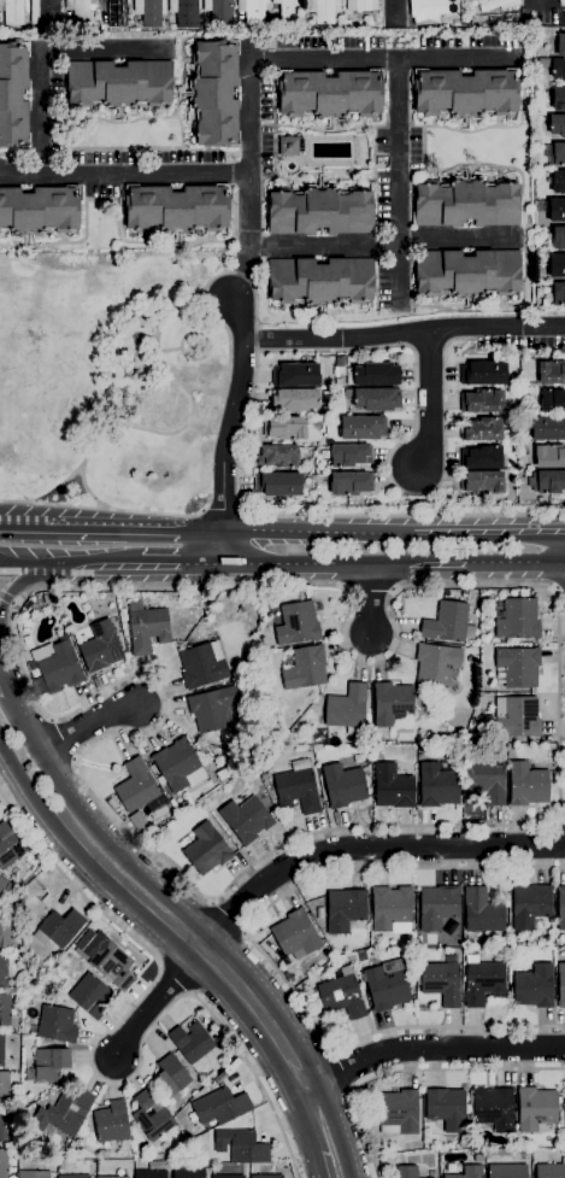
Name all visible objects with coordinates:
building: (561, 2)
building: (494, 4)
building: (361, 5)
building: (288, 8)
building: (80, 10)
building: (253, 10)
building: (323, 10)
building: (14, 11)
building: (116, 11)
building: (219, 11)
building: (430, 11)
building: (151, 12)
building: (184, 12)
road: (395, 12)
building: (46, 13)
building: (0, 16)
building: (564, 30)
building: (561, 45)
road: (43, 49)
road: (383, 60)
building: (558, 69)
building: (118, 84)
building: (329, 93)
building: (465, 93)
building: (214, 94)
building: (13, 95)
building: (558, 99)
building: (557, 125)
building: (288, 147)
building: (555, 154)
road: (124, 175)
road: (249, 182)
building: (558, 182)
road: (399, 183)
building: (467, 203)
building: (176, 209)
building: (39, 210)
building: (555, 210)
building: (320, 211)
building: (559, 238)
road: (382, 244)
building: (557, 266)
building: (466, 274)
building: (320, 281)
building: (557, 293)
road: (404, 333)
road: (155, 354)
building: (552, 373)
building: (483, 374)
building: (295, 375)
building: (373, 375)
park: (108, 380)
building: (337, 383)
road: (224, 394)
road: (233, 397)
road: (200, 399)
building: (373, 399)
road: (430, 399)
building: (294, 400)
building: (552, 400)
building: (481, 402)
building: (326, 411)
road: (235, 412)
road: (111, 427)
building: (284, 428)
building: (363, 428)
building: (481, 429)
building: (547, 429)
building: (329, 443)
road: (402, 443)
building: (349, 455)
building: (277, 456)
building: (549, 456)
building: (481, 458)
road: (237, 467)
building: (481, 482)
building: (548, 482)
building: (349, 483)
building: (278, 485)
road: (88, 492)
building: (540, 500)
road: (108, 509)
road: (224, 510)
road: (89, 526)
road: (201, 528)
road: (318, 532)
road: (489, 534)
road: (224, 546)
road: (516, 562)
road: (418, 563)
road: (182, 564)
road: (298, 564)
road: (70, 565)
road: (22, 584)
road: (286, 586)
road: (559, 592)
building: (465, 594)
road: (370, 599)
building: (518, 620)
building: (446, 622)
building: (295, 623)
building: (147, 627)
building: (100, 647)
building: (436, 664)
building: (202, 666)
building: (517, 667)
building: (58, 669)
building: (305, 669)
road: (1, 690)
building: (392, 704)
building: (216, 709)
building: (347, 709)
building: (517, 716)
road: (84, 723)
road: (37, 758)
building: (178, 766)
building: (222, 774)
building: (484, 781)
road: (29, 783)
building: (343, 785)
building: (526, 785)
building: (437, 786)
building: (298, 787)
building: (393, 787)
building: (140, 796)
building: (112, 803)
building: (184, 804)
building: (178, 809)
building: (246, 819)
road: (560, 821)
road: (364, 845)
building: (8, 846)
building: (204, 849)
building: (2, 885)
building: (11, 889)
building: (530, 906)
building: (437, 907)
building: (560, 908)
building: (345, 909)
building: (390, 909)
building: (320, 912)
building: (482, 912)
road: (229, 916)
building: (59, 928)
building: (5, 932)
building: (295, 934)
road: (261, 948)
road: (201, 949)
building: (360, 957)
building: (112, 966)
building: (2, 972)
building: (52, 975)
building: (440, 983)
building: (483, 983)
building: (560, 985)
building: (534, 986)
building: (386, 987)
building: (90, 996)
building: (342, 996)
road: (154, 1003)
building: (5, 1010)
building: (54, 1025)
building: (192, 1042)
road: (432, 1048)
building: (1, 1049)
building: (49, 1065)
road: (93, 1068)
road: (343, 1069)
road: (412, 1069)
building: (29, 1076)
building: (170, 1077)
building: (5, 1089)
building: (220, 1107)
building: (564, 1107)
building: (447, 1108)
building: (536, 1108)
building: (493, 1109)
building: (398, 1113)
building: (63, 1114)
building: (152, 1115)
building: (12, 1117)
road: (320, 1118)
building: (111, 1123)
building: (2, 1129)
building: (241, 1147)
road: (334, 1160)
building: (2, 1164)
building: (60, 1166)
building: (507, 1171)
building: (551, 1171)
building: (188, 1172)
building: (406, 1172)
building: (467, 1172)
building: (33, 1174)
building: (149, 1174)
building: (72, 1176)
building: (265, 1176)
building: (117, 1177)
building: (226, 1177)

